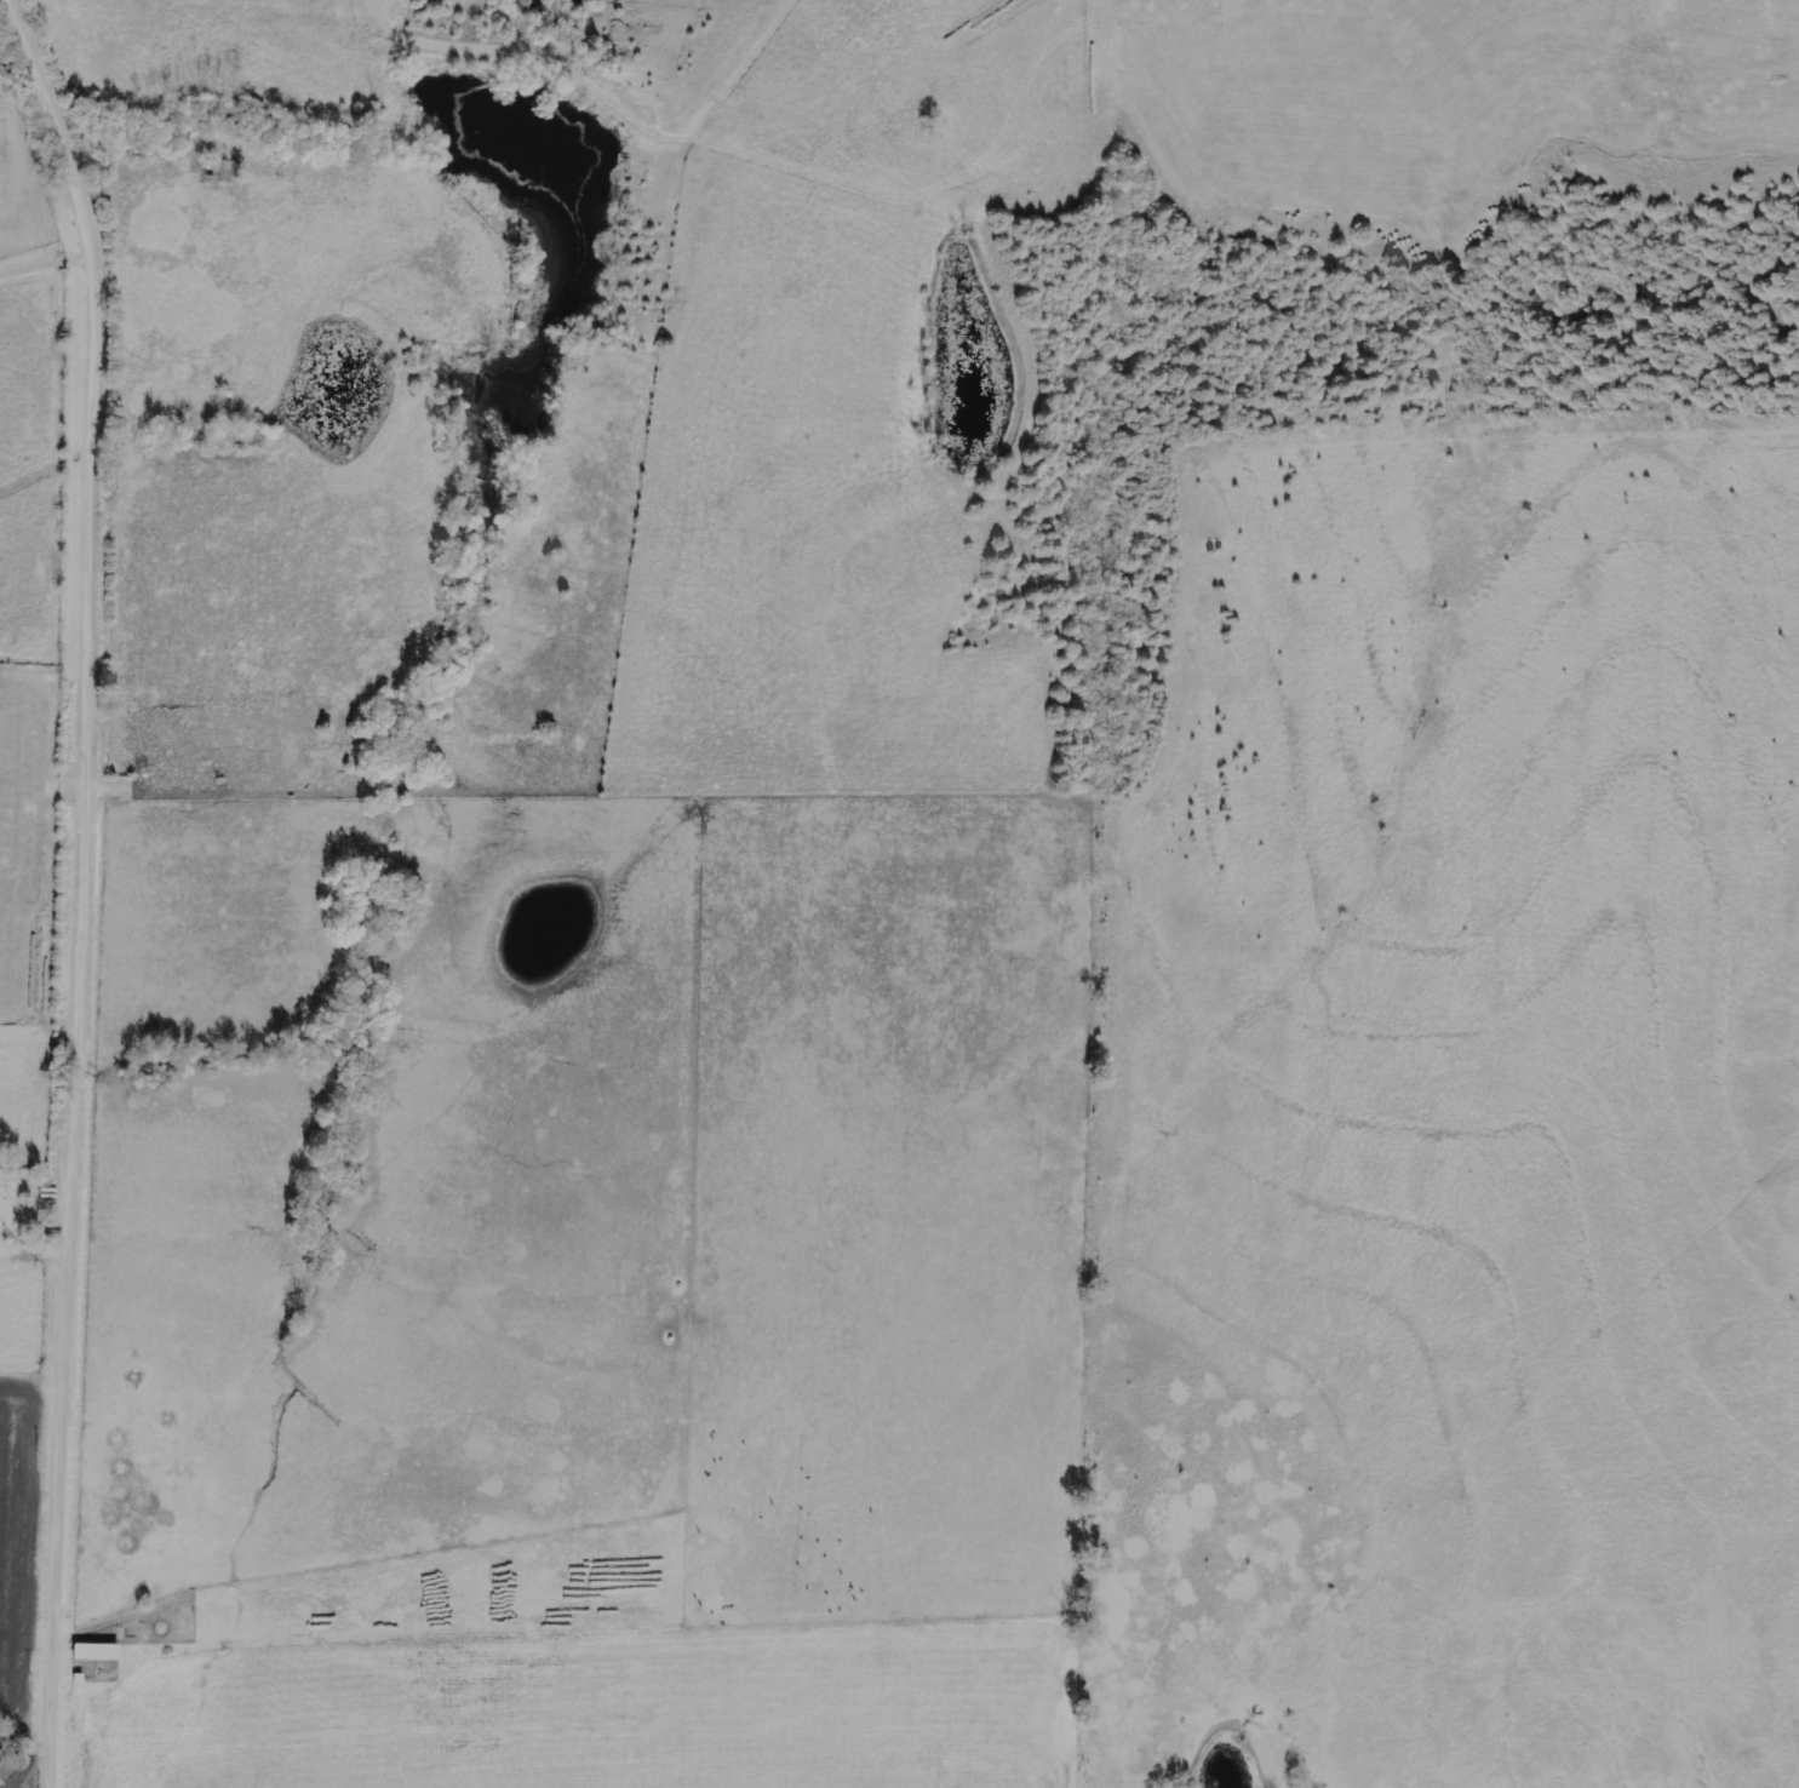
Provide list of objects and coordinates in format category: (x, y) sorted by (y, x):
building: (225, 172)
road: (68, 884)
building: (94, 1651)
building: (1, 1764)

